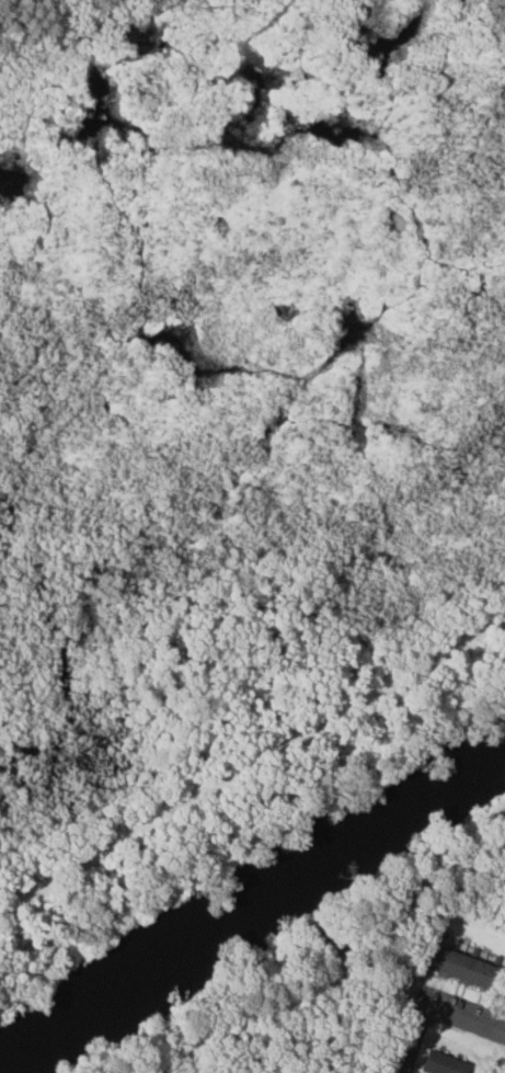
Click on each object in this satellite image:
river: (252, 898)
building: (461, 962)
building: (504, 994)
road: (460, 1018)
road: (416, 1040)
building: (444, 1063)

